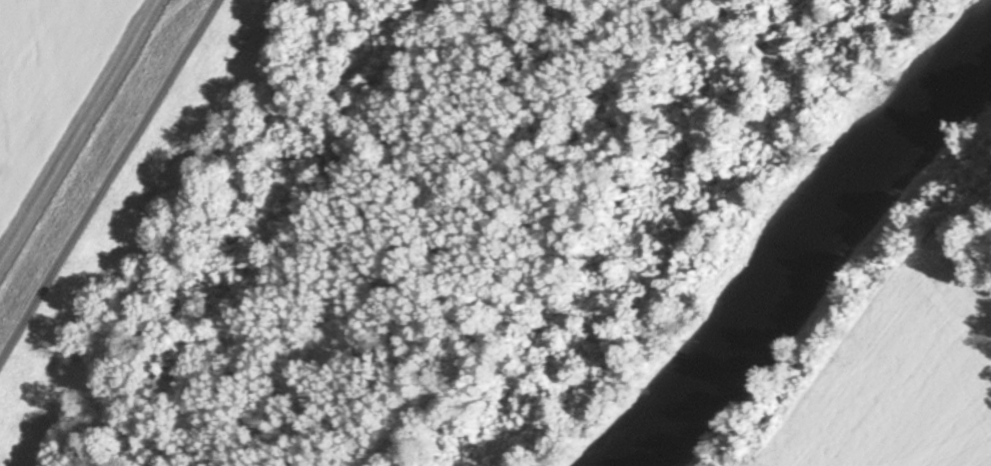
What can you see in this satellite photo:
road: (80, 137)
road: (109, 186)
river: (796, 260)

